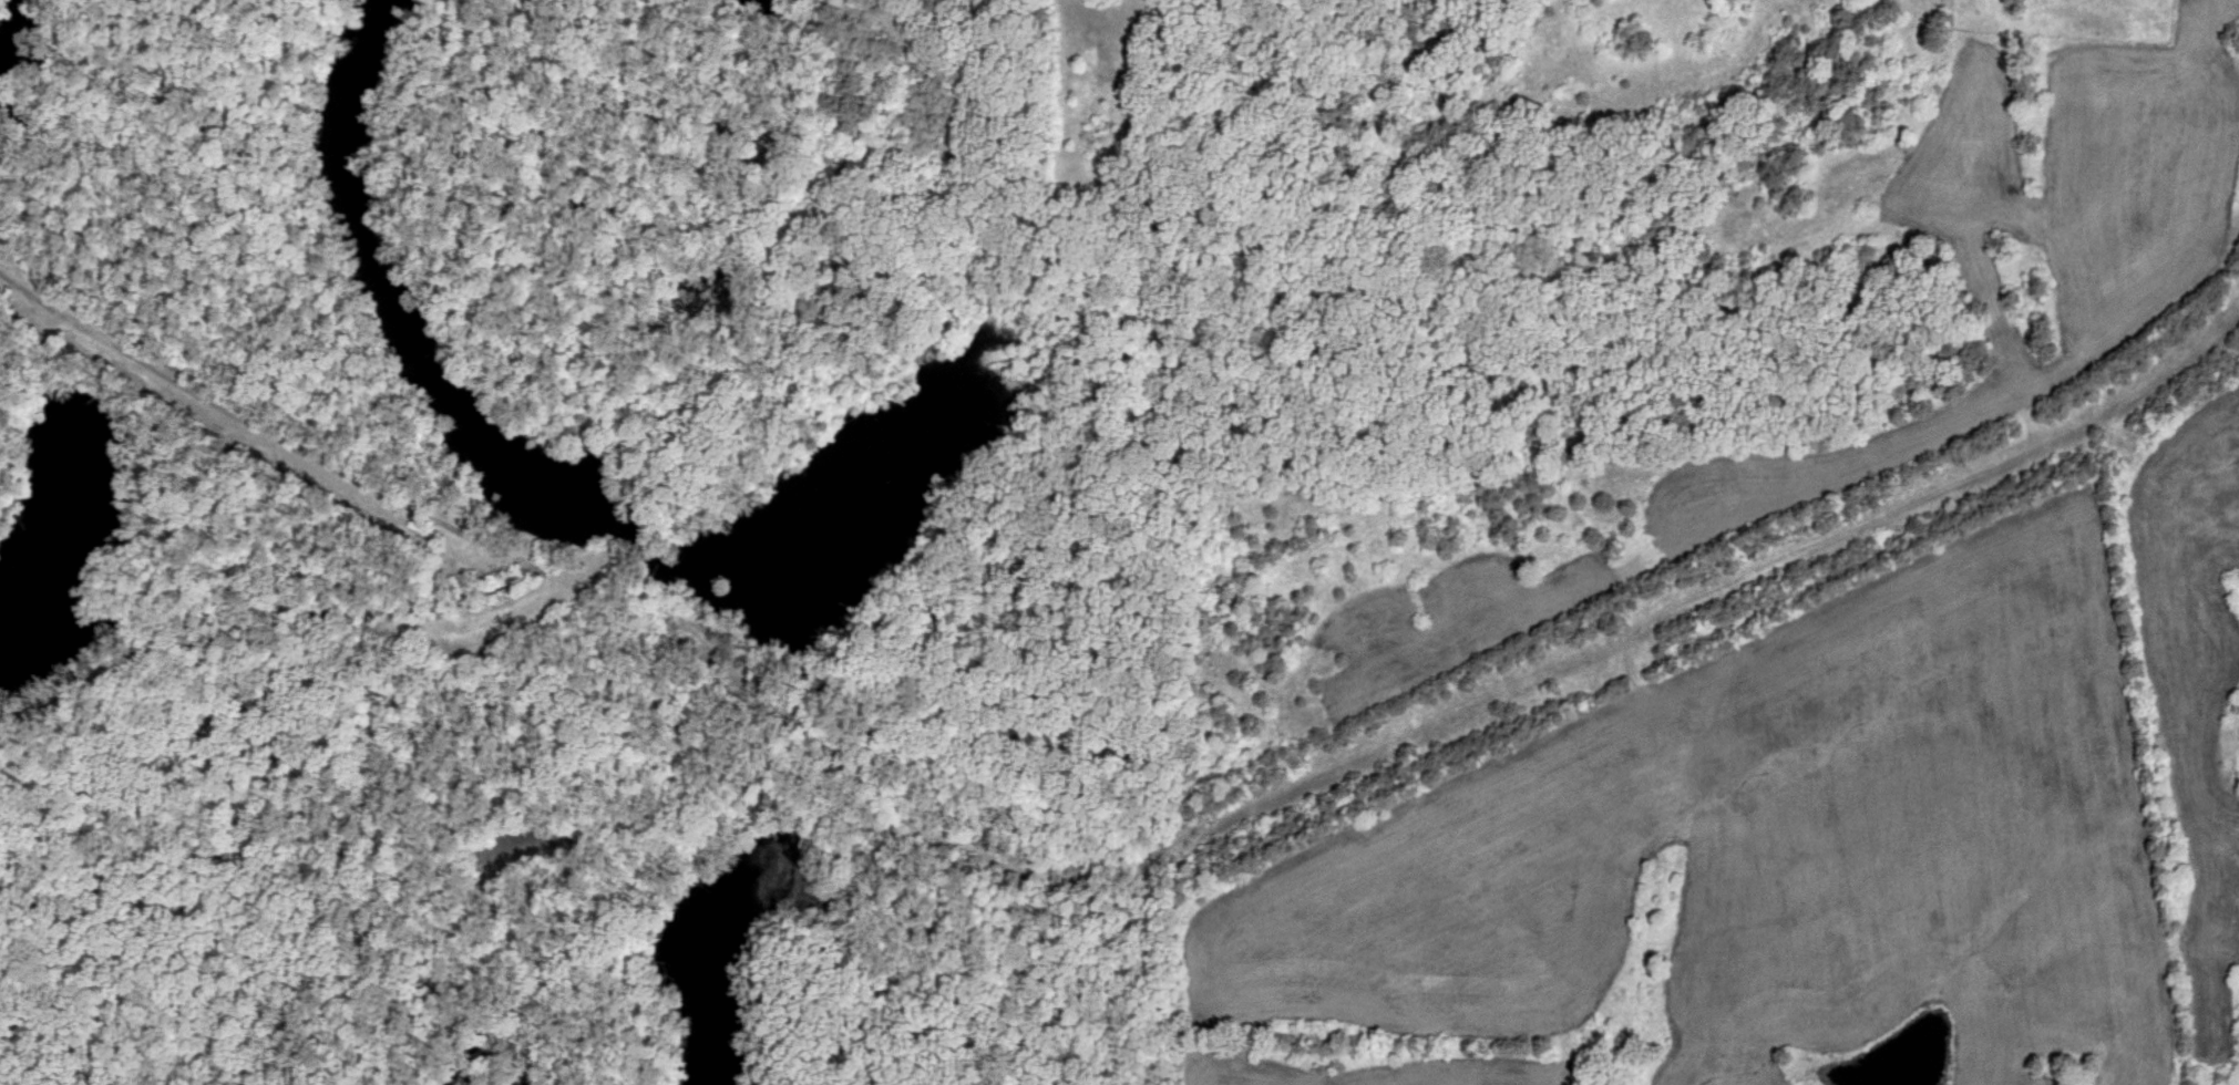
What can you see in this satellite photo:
road: (220, 405)

